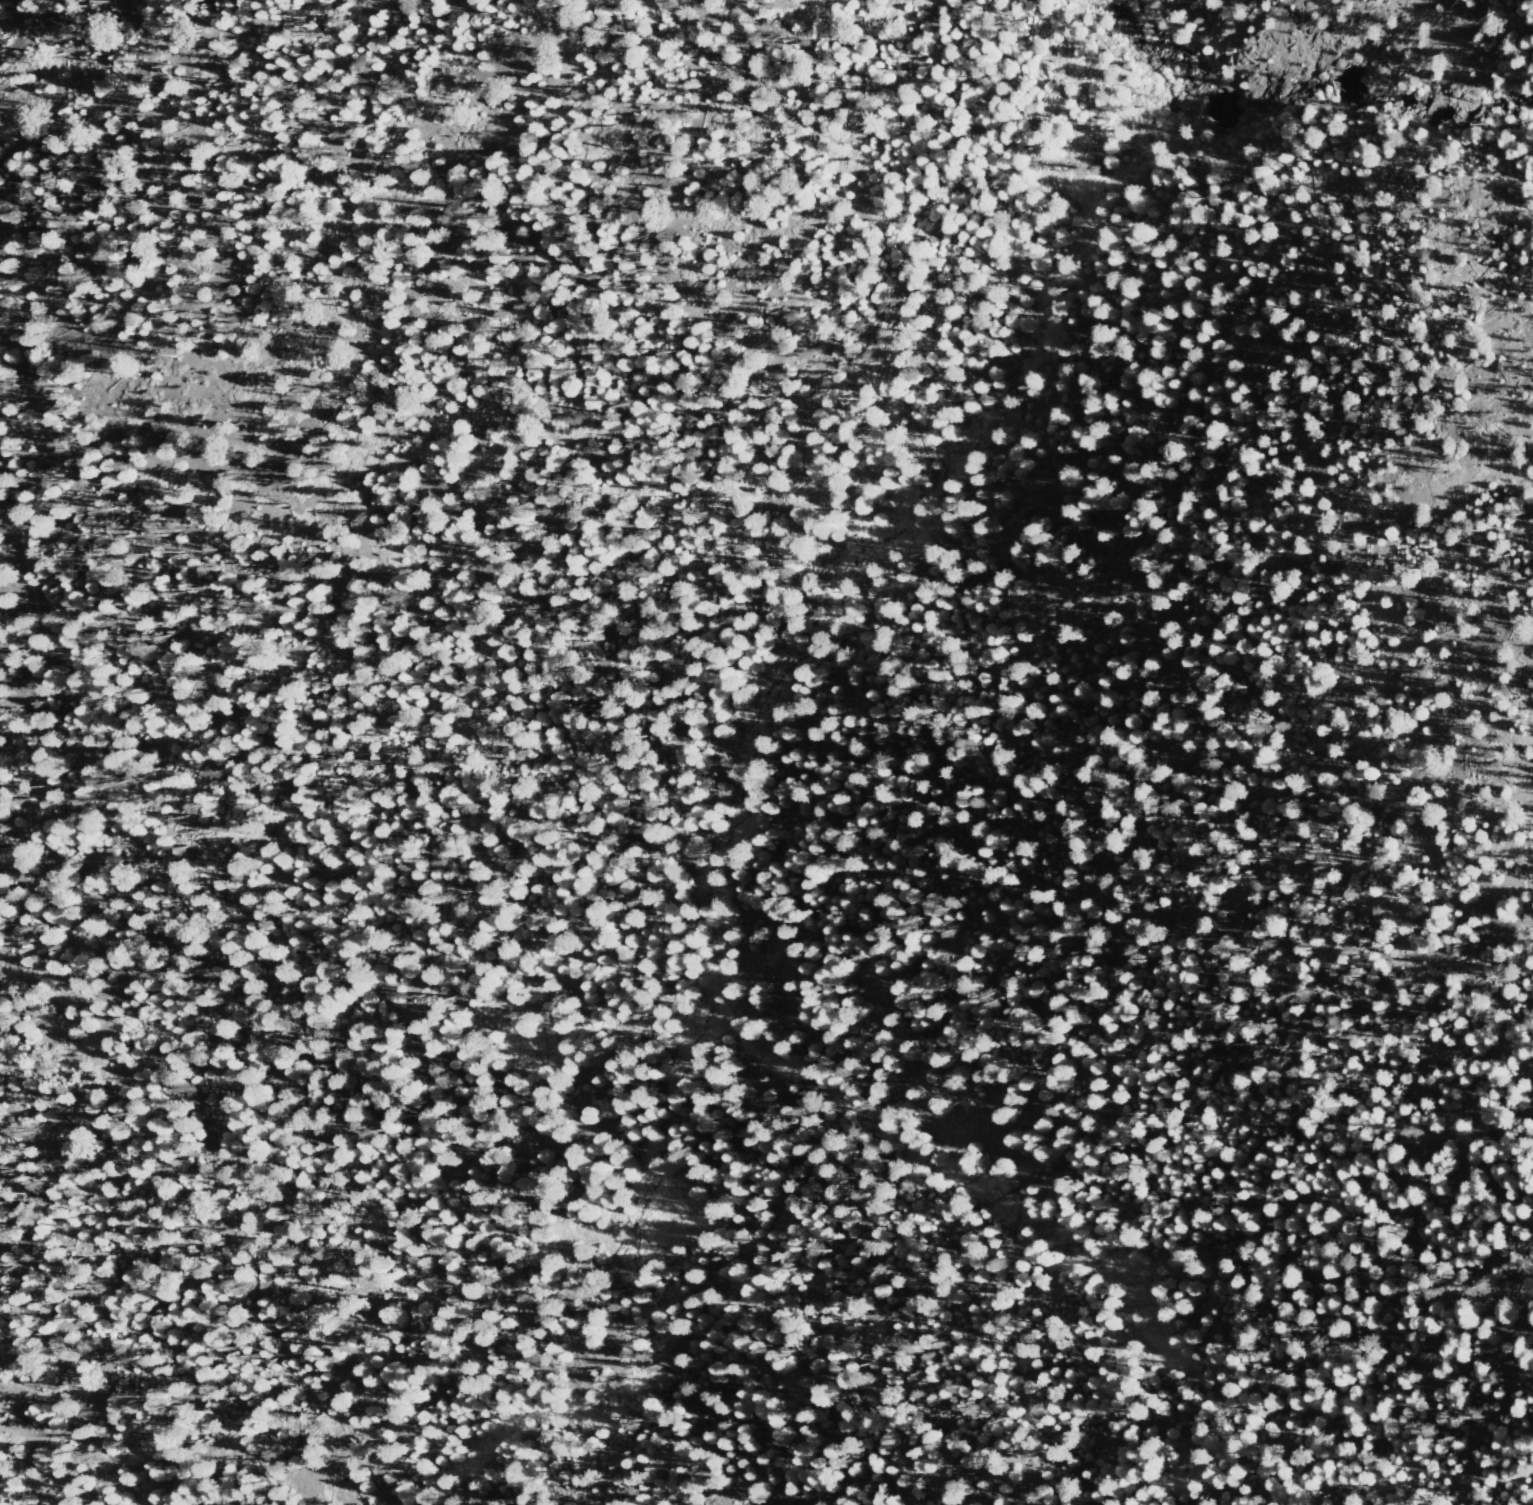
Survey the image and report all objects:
road: (84, 1433)
road: (1345, 1449)

